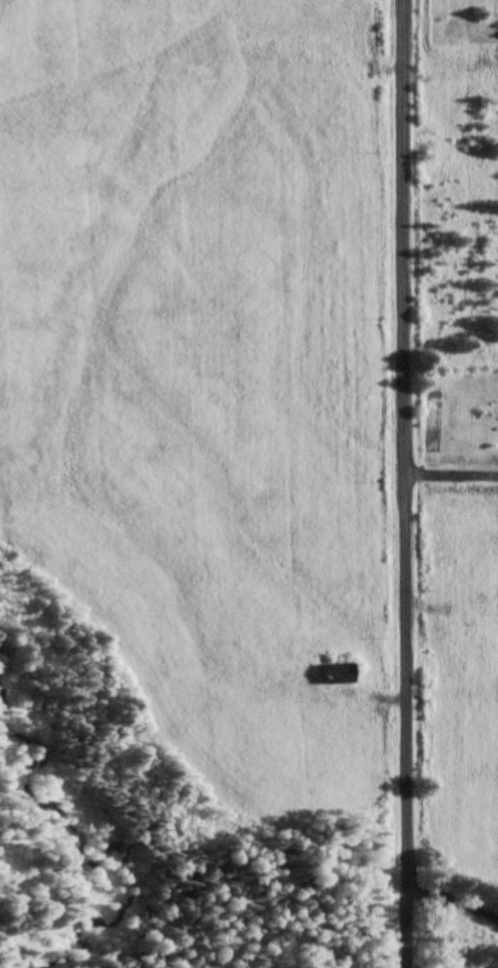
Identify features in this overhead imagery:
building: (20, 14)
road: (407, 484)
building: (331, 673)

